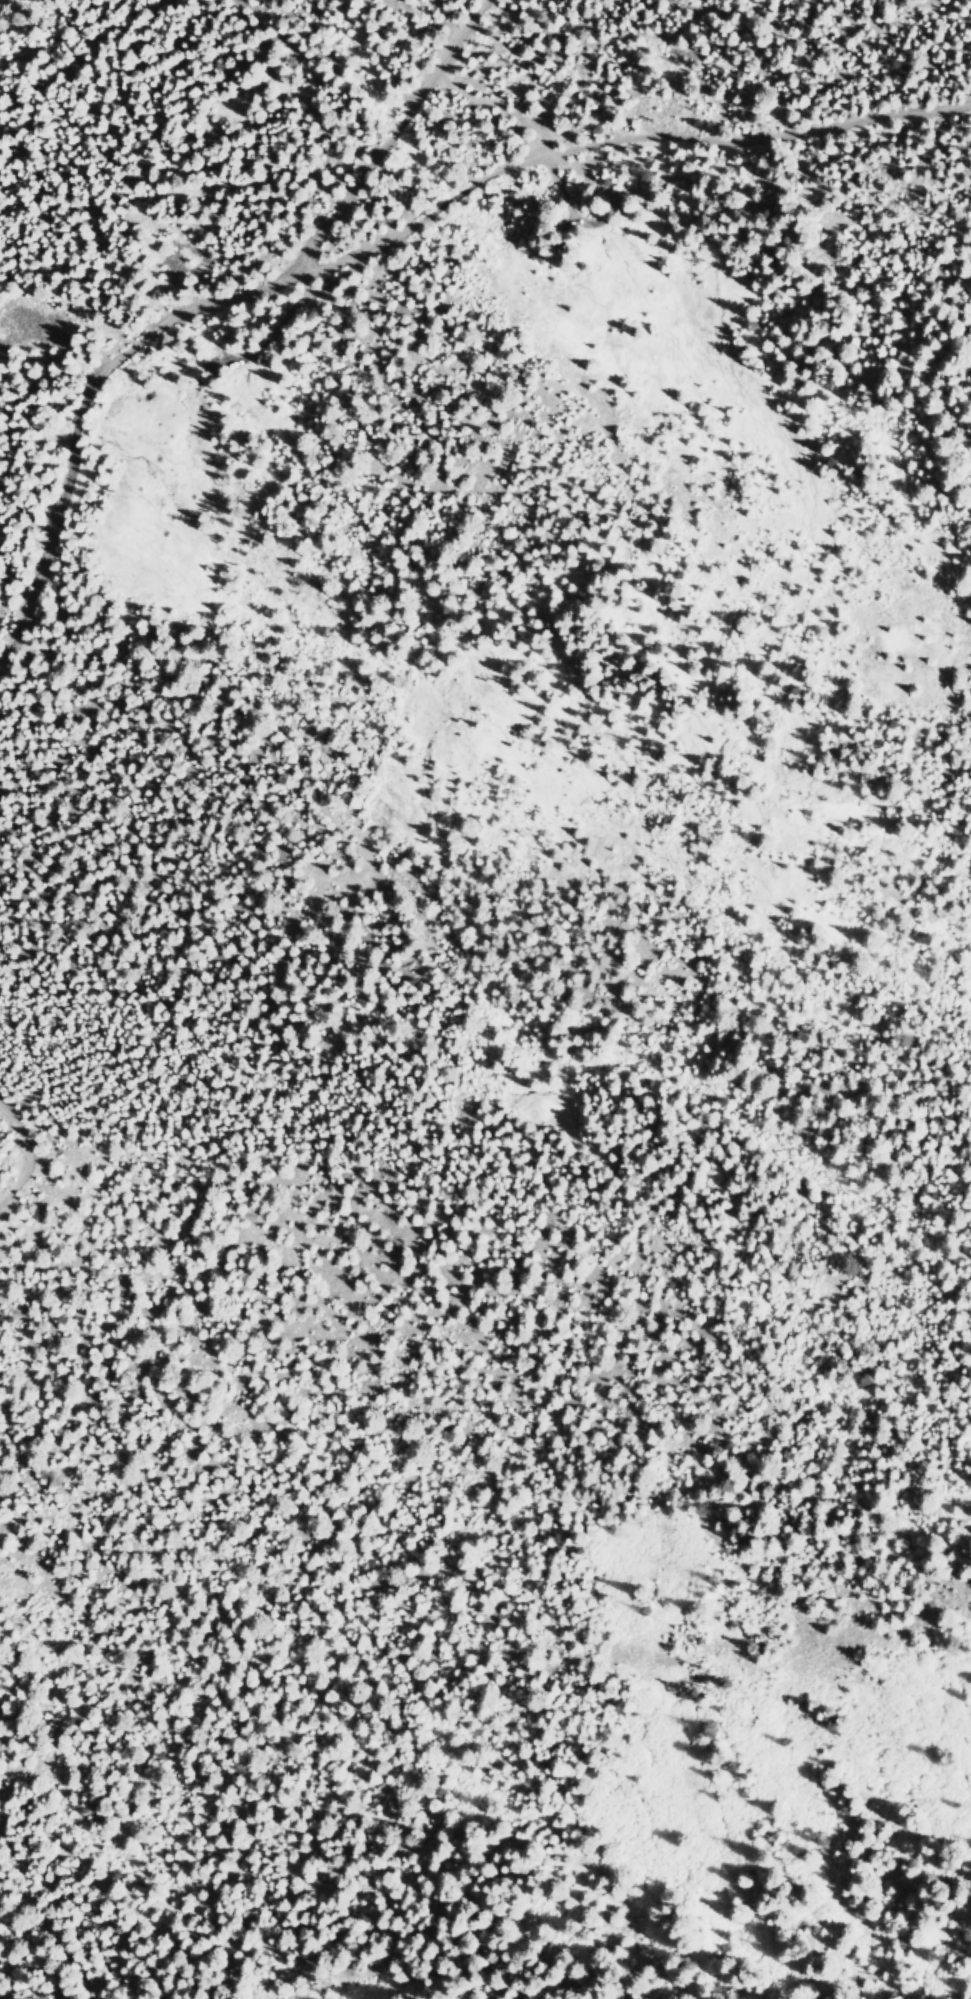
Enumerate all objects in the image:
road: (340, 124)
road: (622, 133)
road: (343, 273)
road: (200, 305)
road: (23, 1155)

